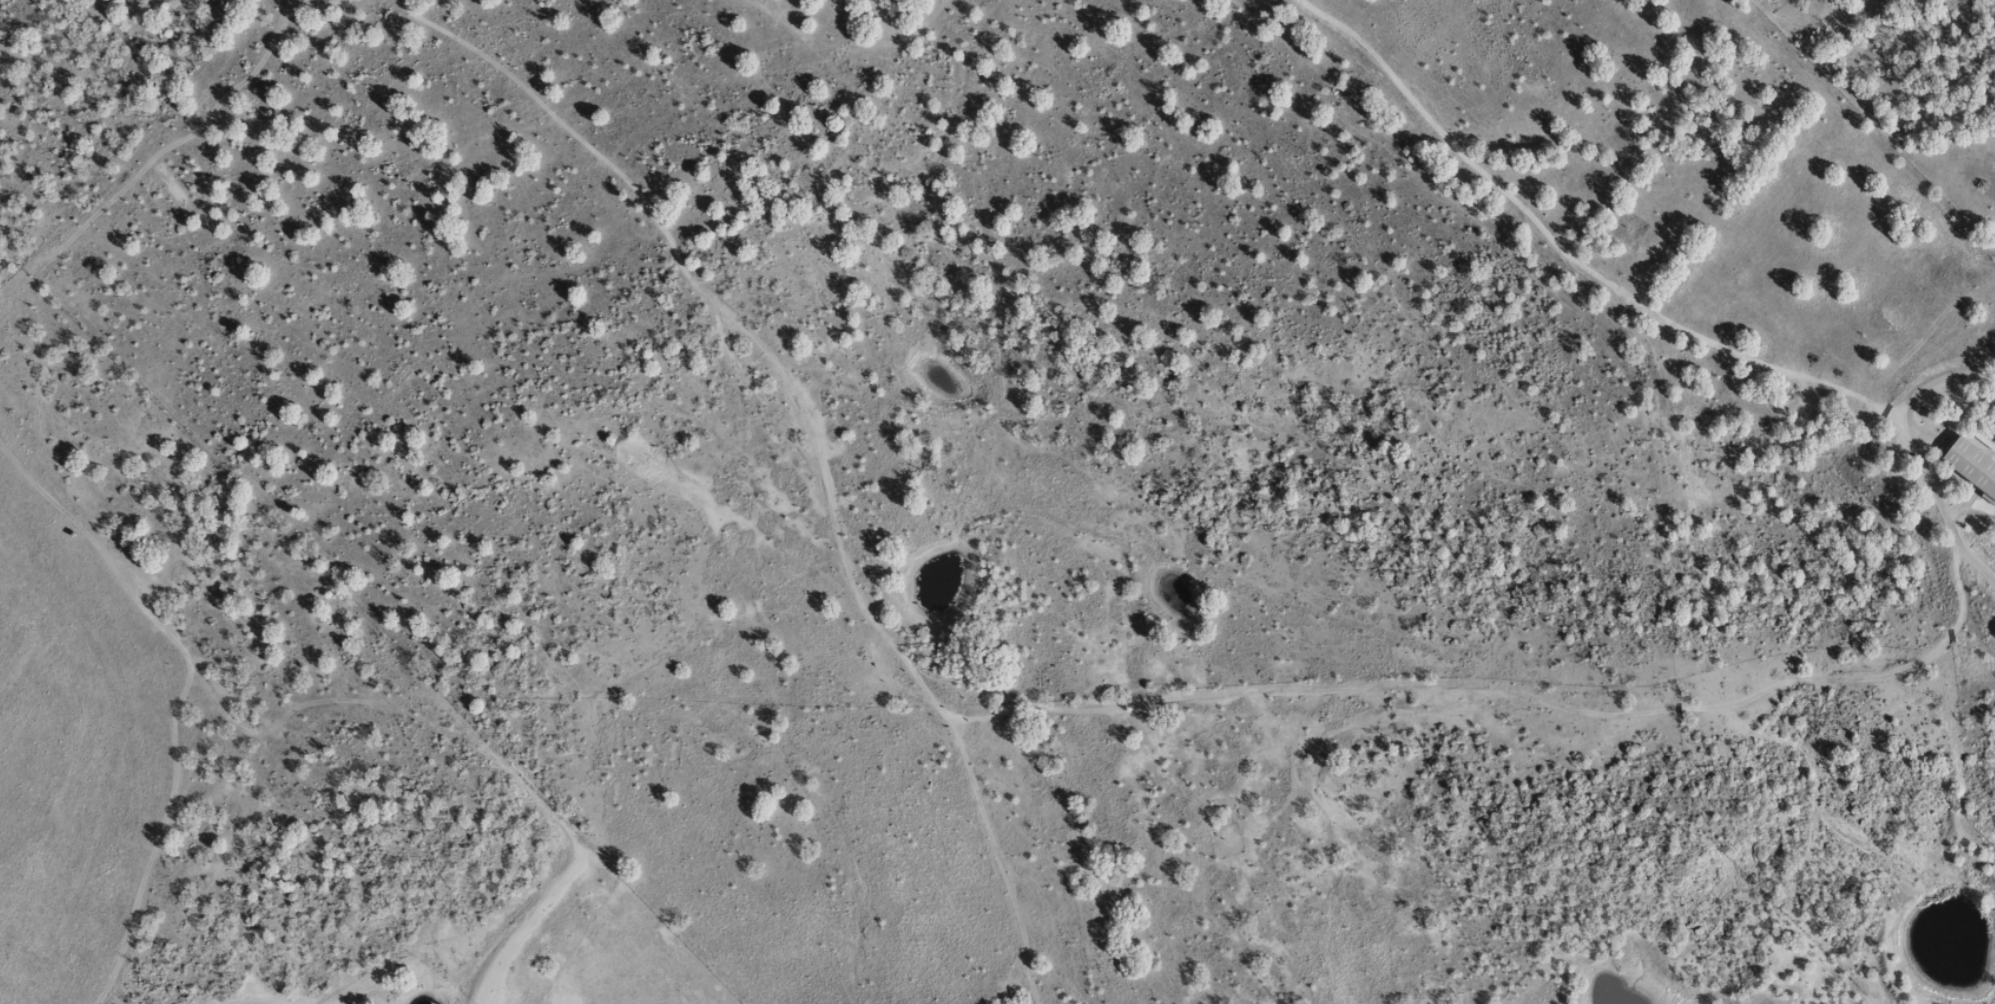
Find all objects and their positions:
building: (1969, 467)

